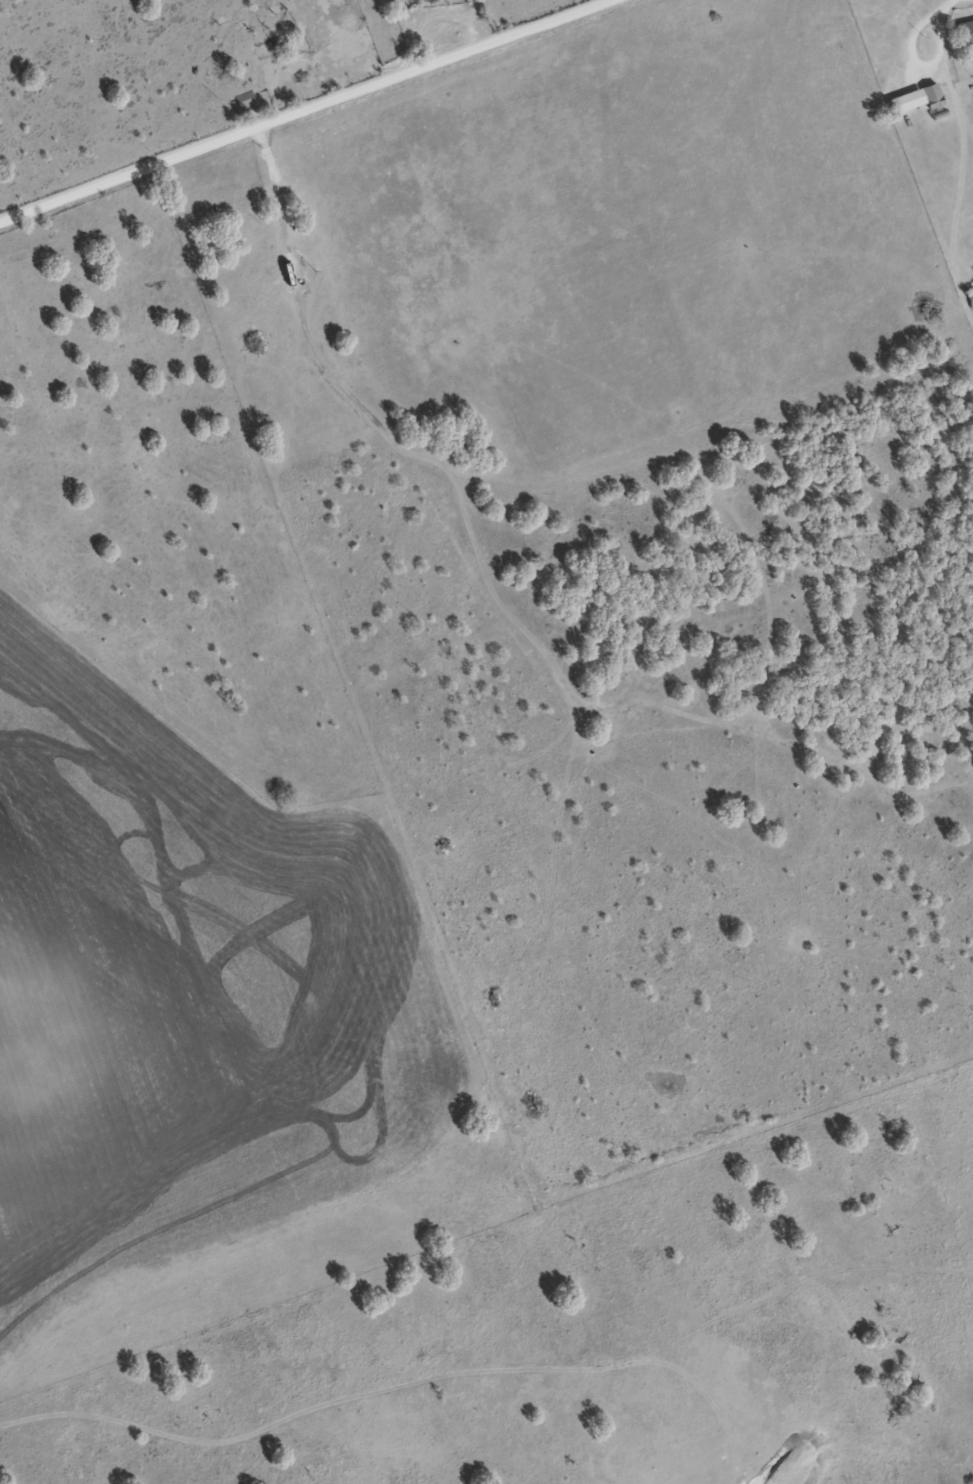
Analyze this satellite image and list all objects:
building: (425, 0)
building: (964, 31)
building: (916, 98)
building: (244, 99)
road: (293, 108)
road: (623, 233)

